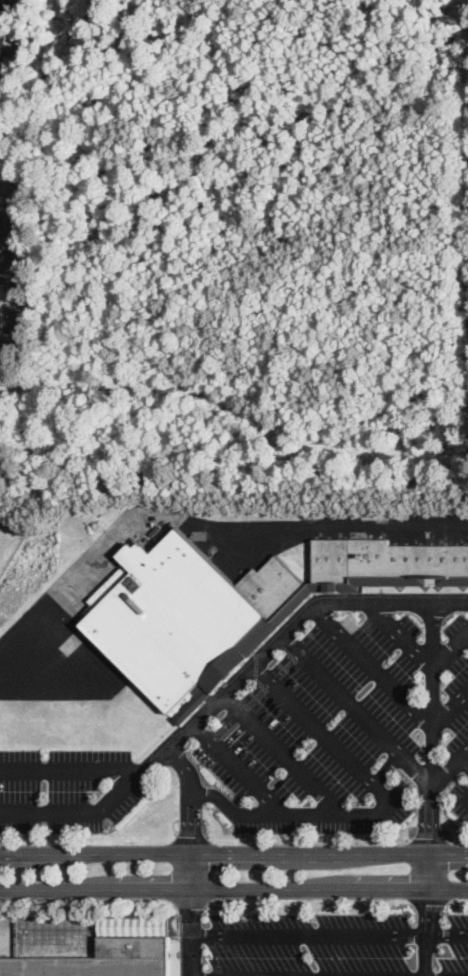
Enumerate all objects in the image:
building: (3, 47)
building: (1, 305)
road: (203, 524)
building: (336, 564)
building: (411, 564)
building: (275, 588)
building: (175, 622)
road: (280, 634)
road: (419, 654)
road: (369, 667)
road: (449, 707)
road: (355, 708)
parking lot: (347, 724)
road: (429, 746)
road: (280, 752)
road: (463, 759)
road: (448, 764)
road: (386, 767)
road: (131, 779)
parking lot: (66, 789)
road: (233, 809)
road: (371, 809)
road: (191, 812)
road: (234, 852)
road: (234, 888)
road: (201, 901)
road: (226, 901)
road: (329, 931)
road: (192, 932)
road: (427, 932)
building: (133, 944)
parking lot: (336, 946)
building: (86, 965)
road: (329, 975)

